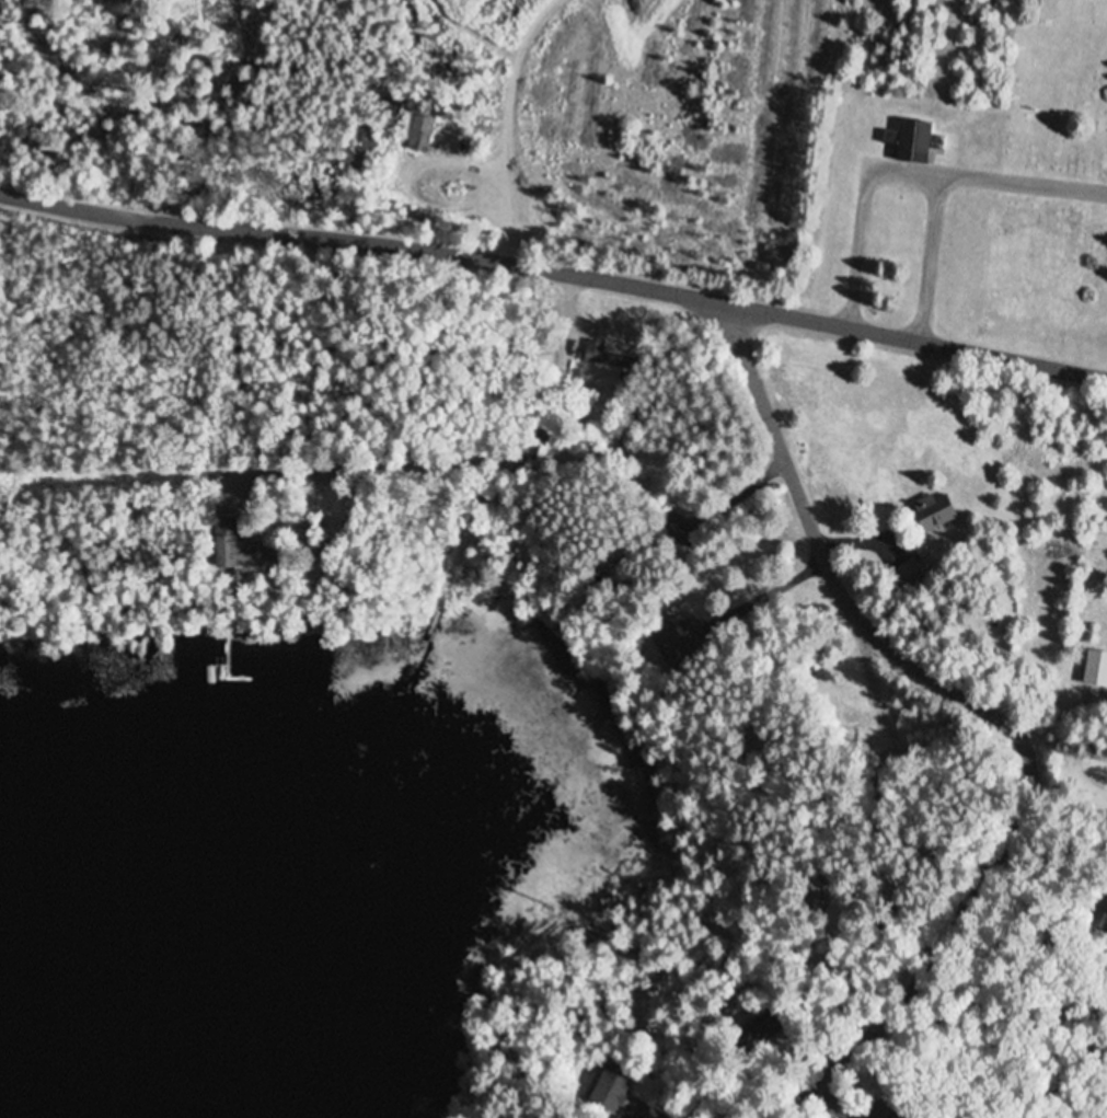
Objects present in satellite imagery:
building: (913, 145)
park: (707, 146)
road: (555, 267)
building: (607, 357)
building: (933, 515)
building: (240, 550)
building: (903, 572)
road: (834, 583)
building: (676, 644)
building: (1096, 669)
road: (1069, 798)
building: (1104, 926)
road: (927, 975)
building: (762, 1028)
building: (610, 1090)
building: (887, 1110)

